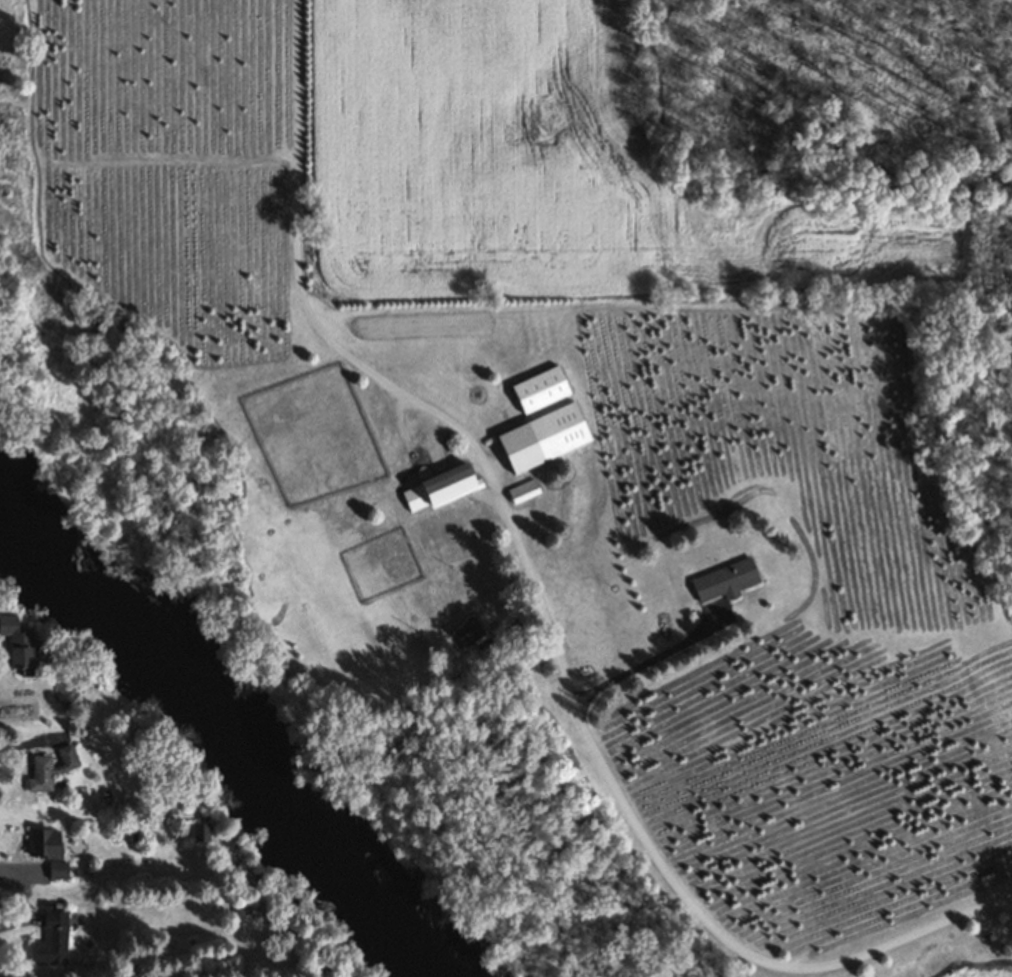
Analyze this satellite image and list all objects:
building: (540, 391)
building: (543, 439)
river: (1, 482)
building: (440, 489)
building: (522, 493)
building: (724, 581)
road: (537, 599)
building: (468, 633)
building: (18, 645)
road: (650, 659)
road: (17, 745)
river: (232, 752)
building: (50, 769)
building: (200, 833)
building: (44, 844)
road: (8, 869)
building: (56, 870)
road: (6, 925)
building: (51, 941)

